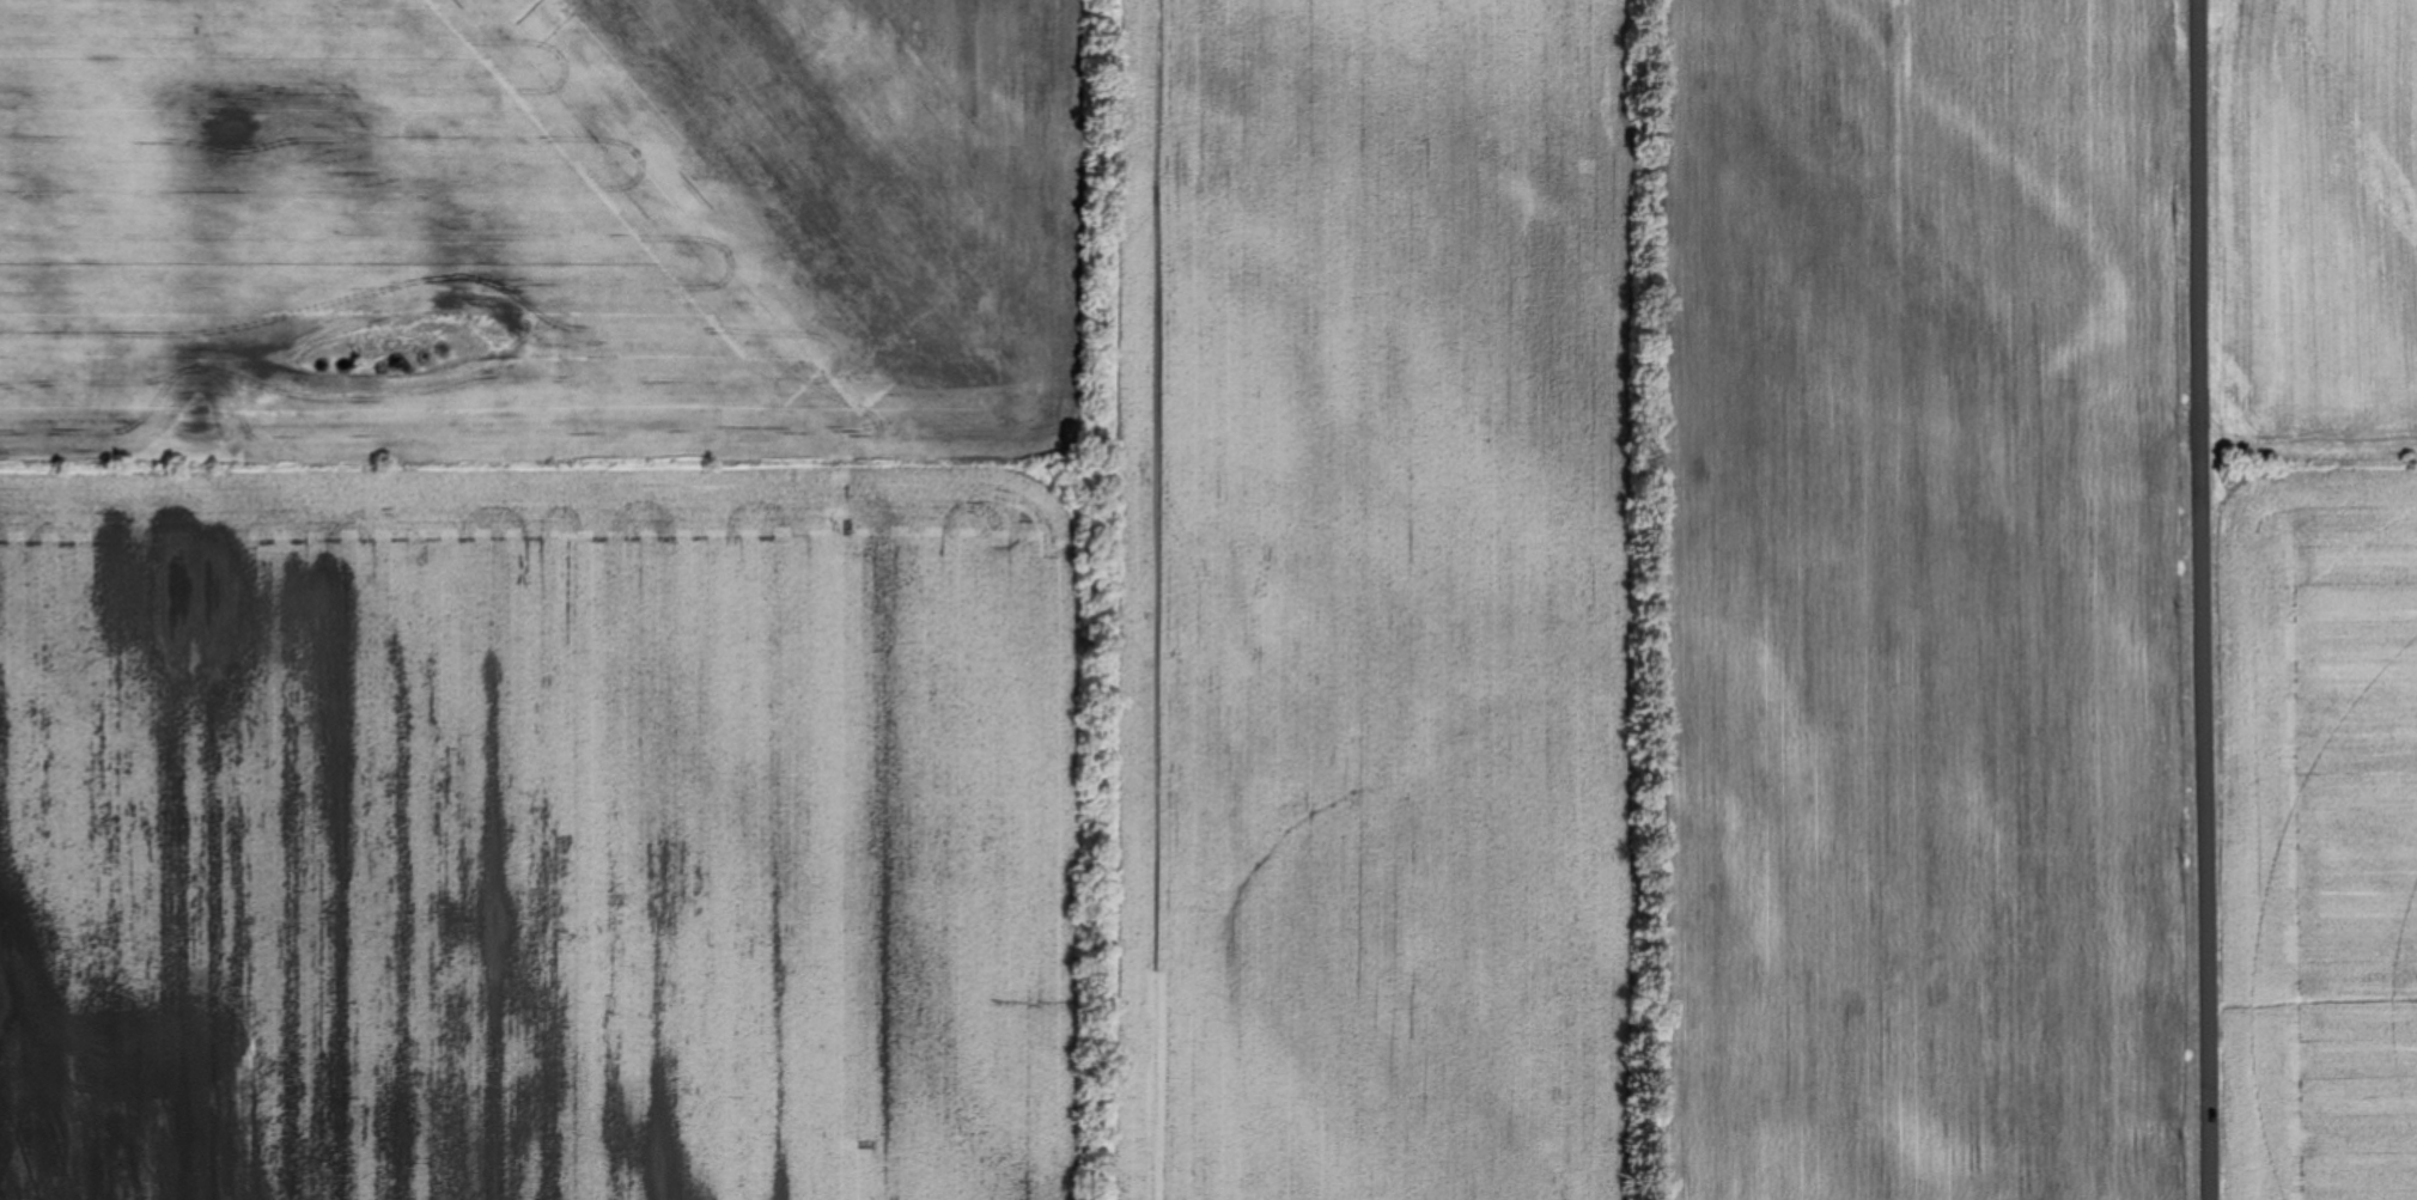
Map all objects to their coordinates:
road: (2206, 599)

